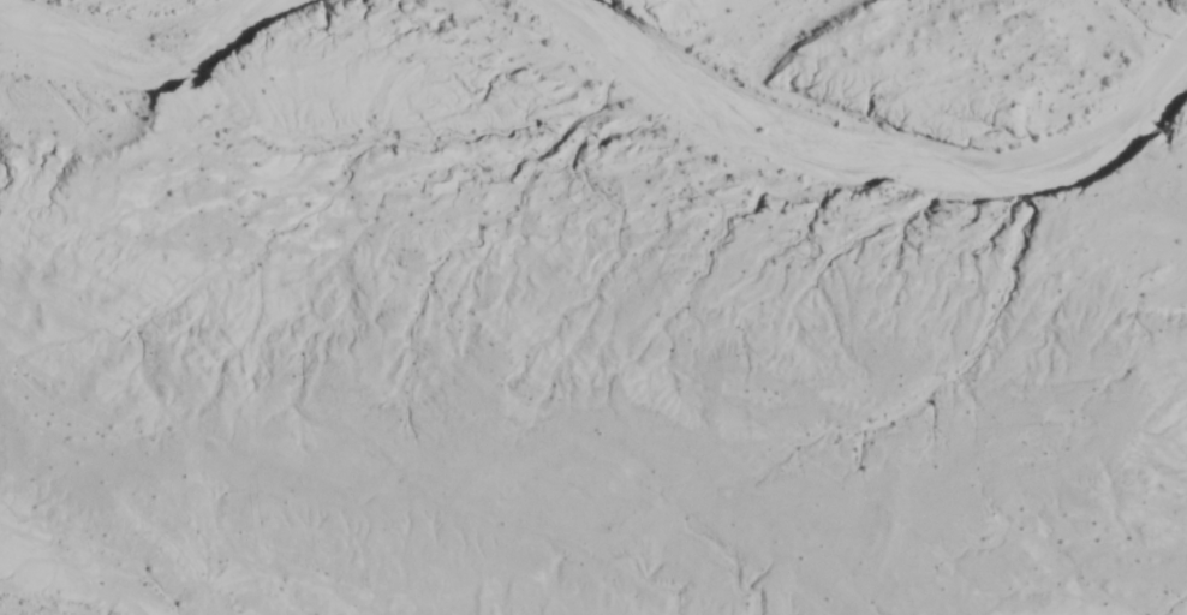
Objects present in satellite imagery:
road: (135, 61)
road: (861, 161)

